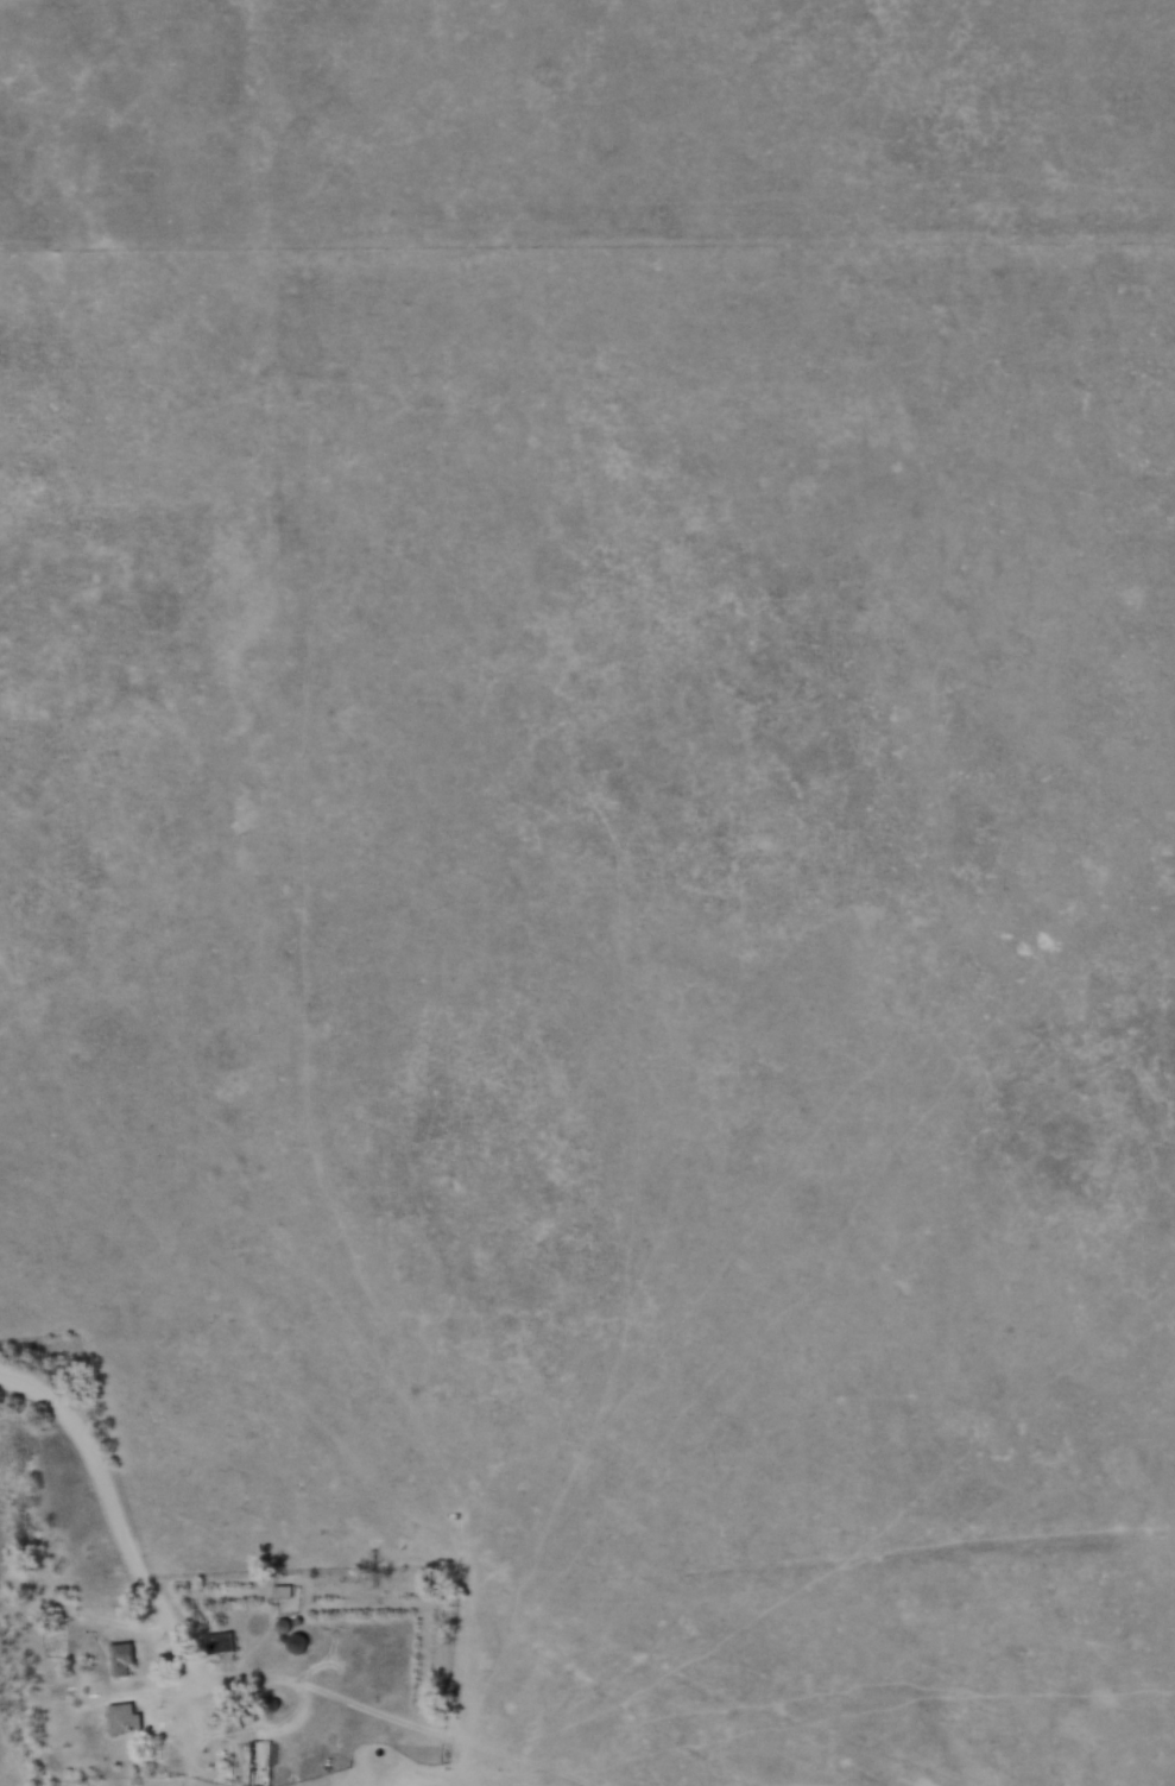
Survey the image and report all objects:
building: (283, 1589)
building: (283, 1624)
silo: (283, 1624)
building: (298, 1642)
silo: (298, 1642)
building: (208, 1645)
building: (120, 1656)
road: (181, 1680)
building: (125, 1717)

